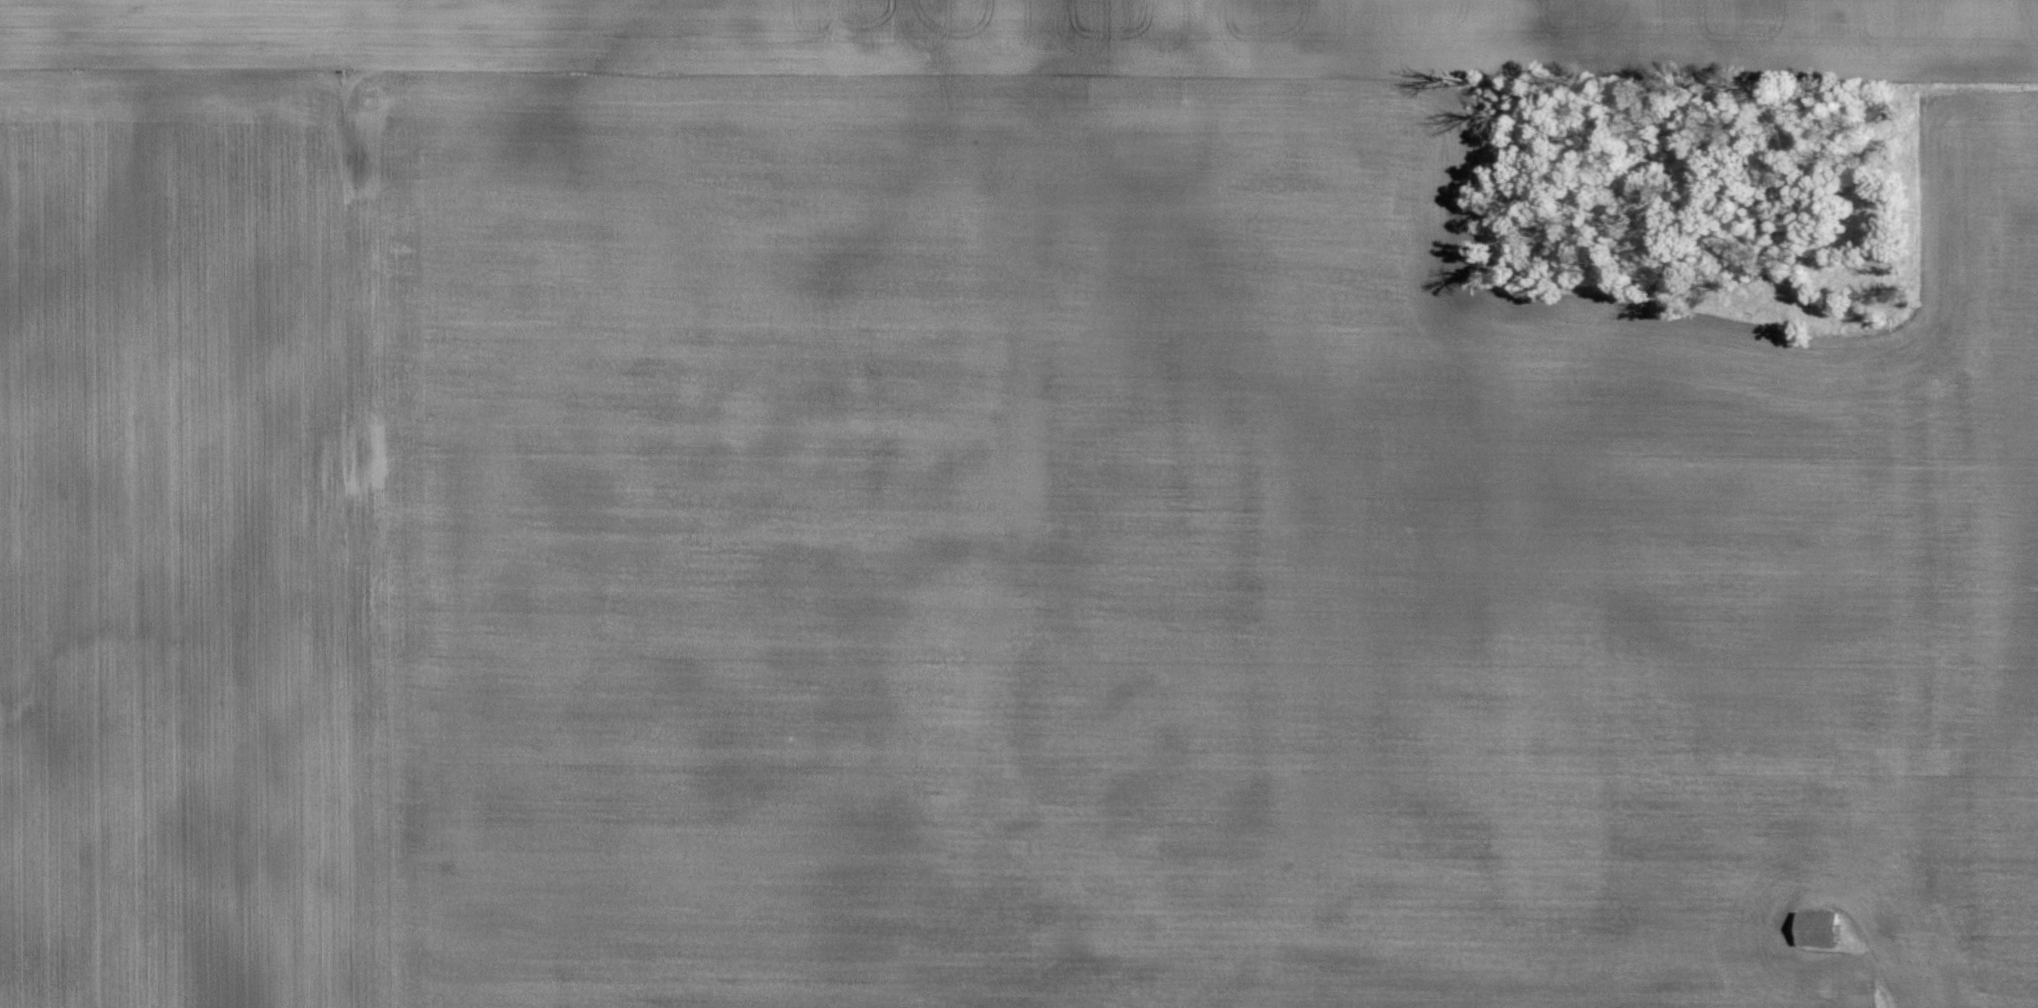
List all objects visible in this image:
road: (1882, 983)

